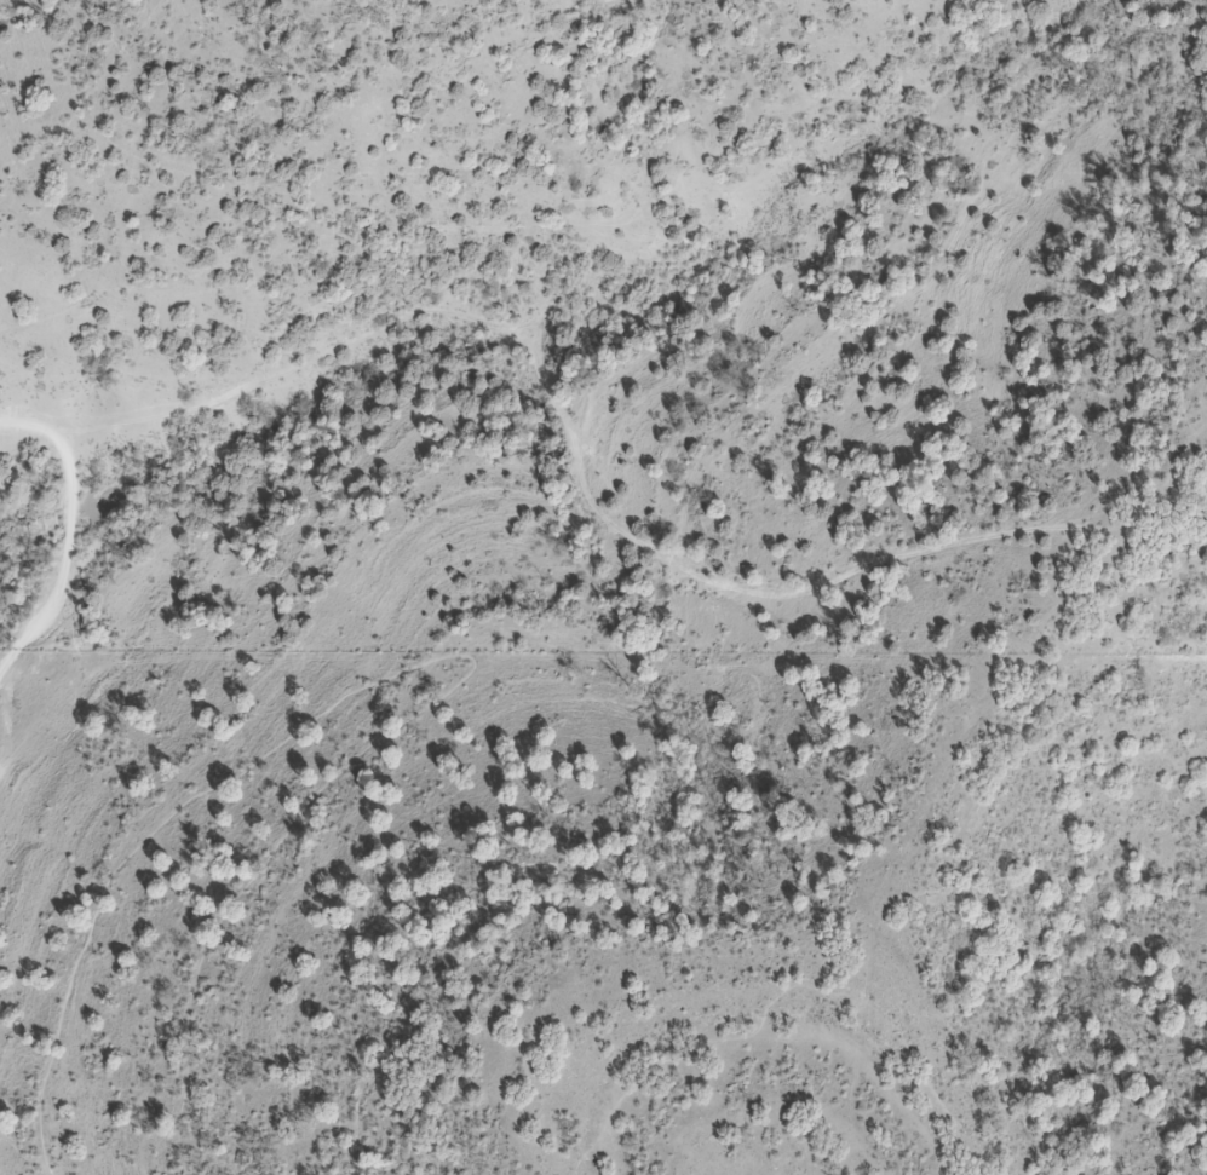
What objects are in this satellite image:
road: (67, 531)
road: (415, 667)
road: (500, 879)
road: (788, 992)

